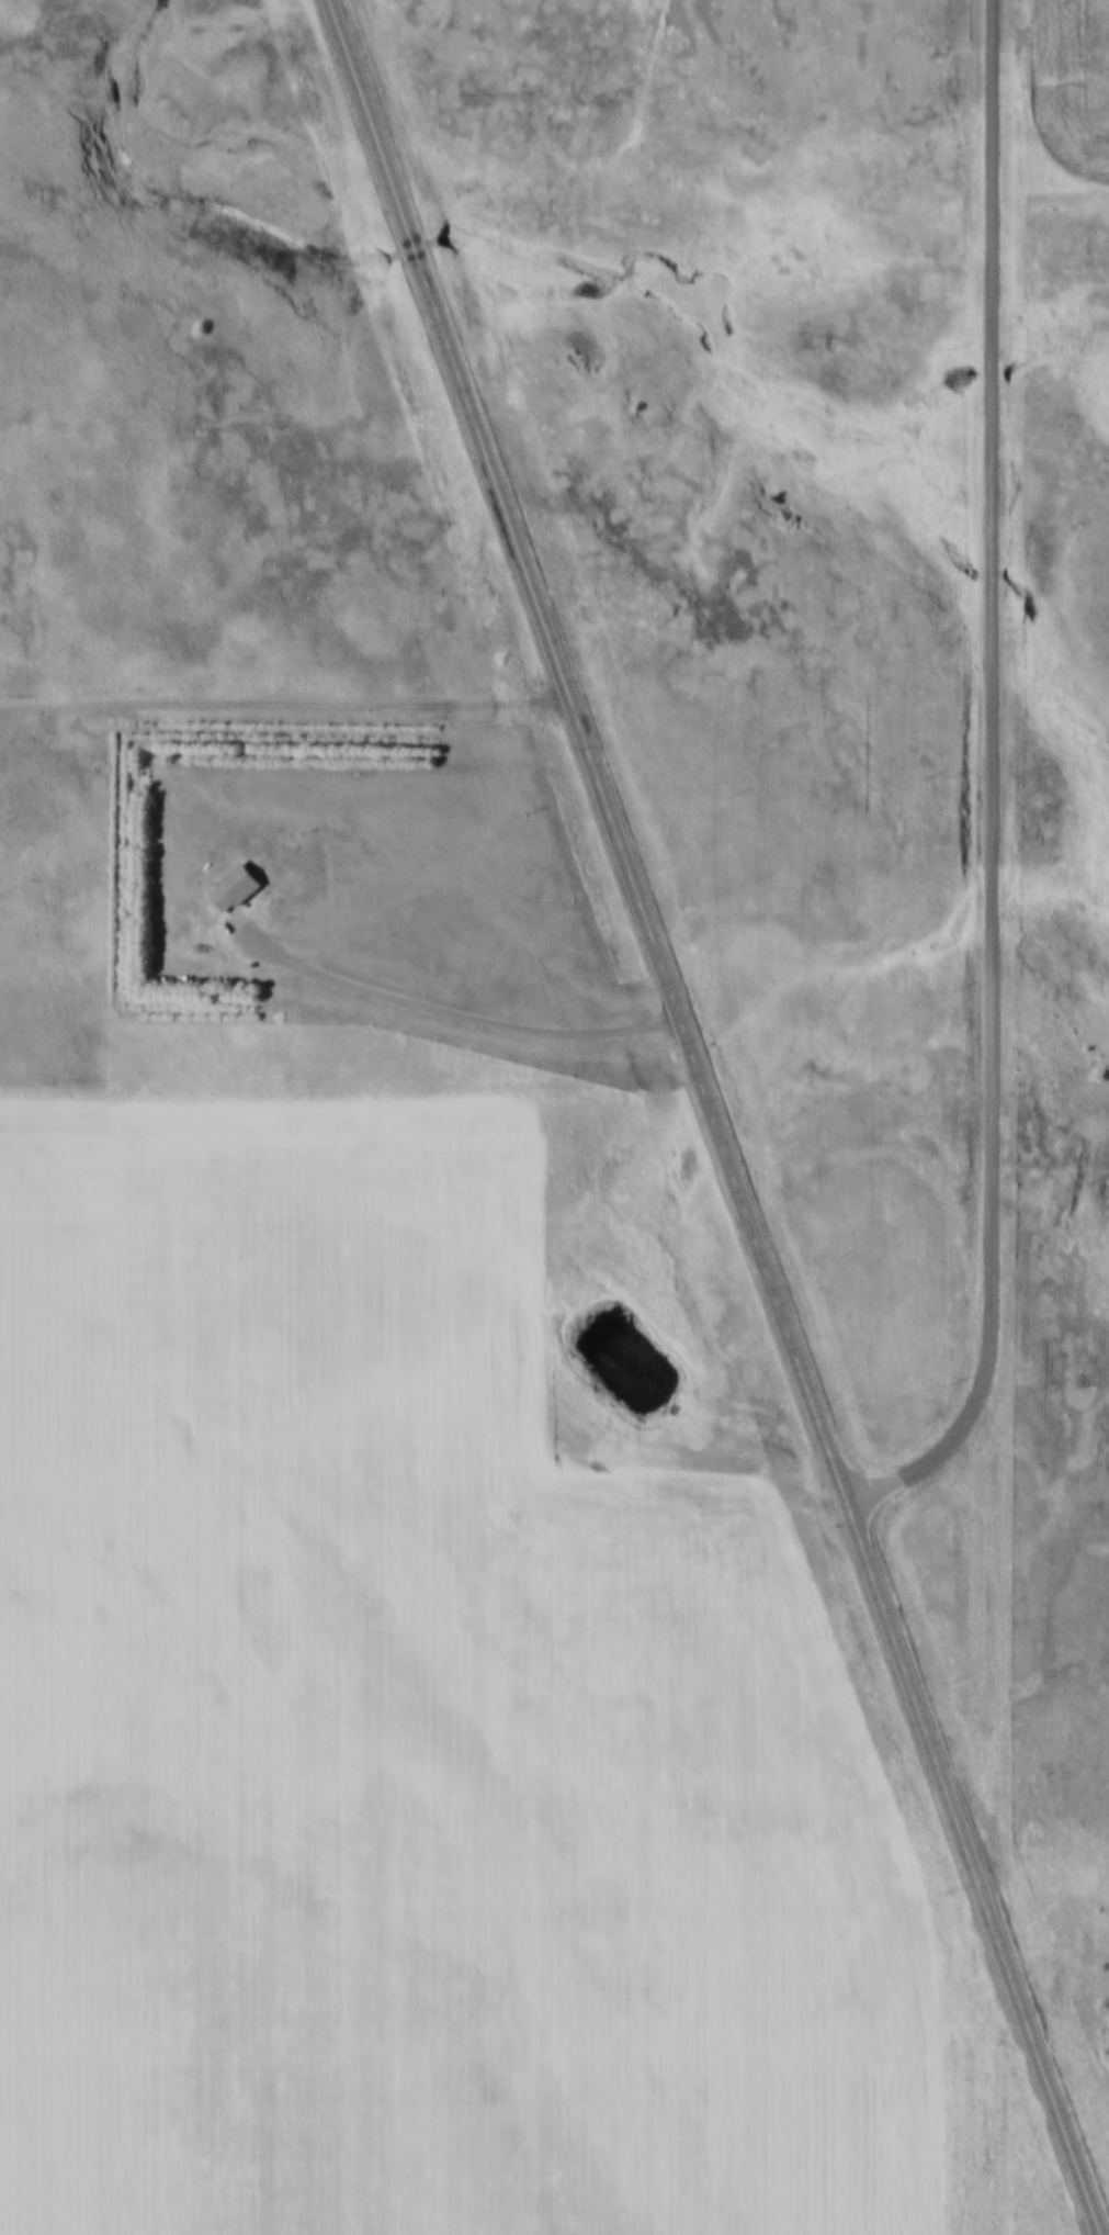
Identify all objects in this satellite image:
road: (993, 775)
building: (231, 873)
building: (236, 892)
road: (459, 1008)
road: (686, 1011)
road: (1072, 2125)

